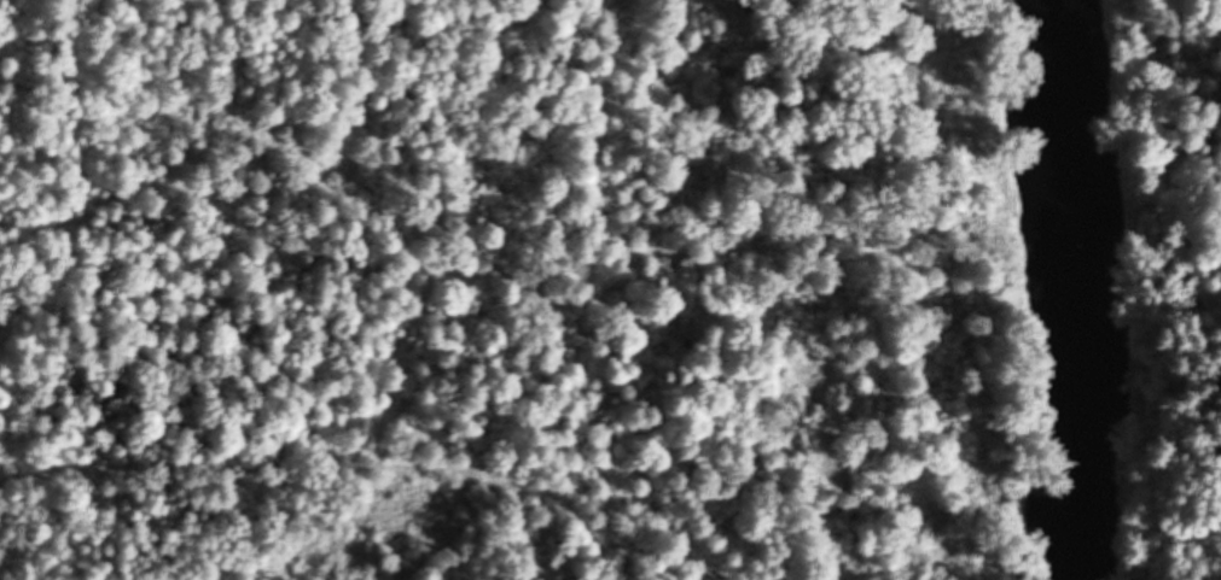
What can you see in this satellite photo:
river: (1033, 4)
river: (1074, 293)

